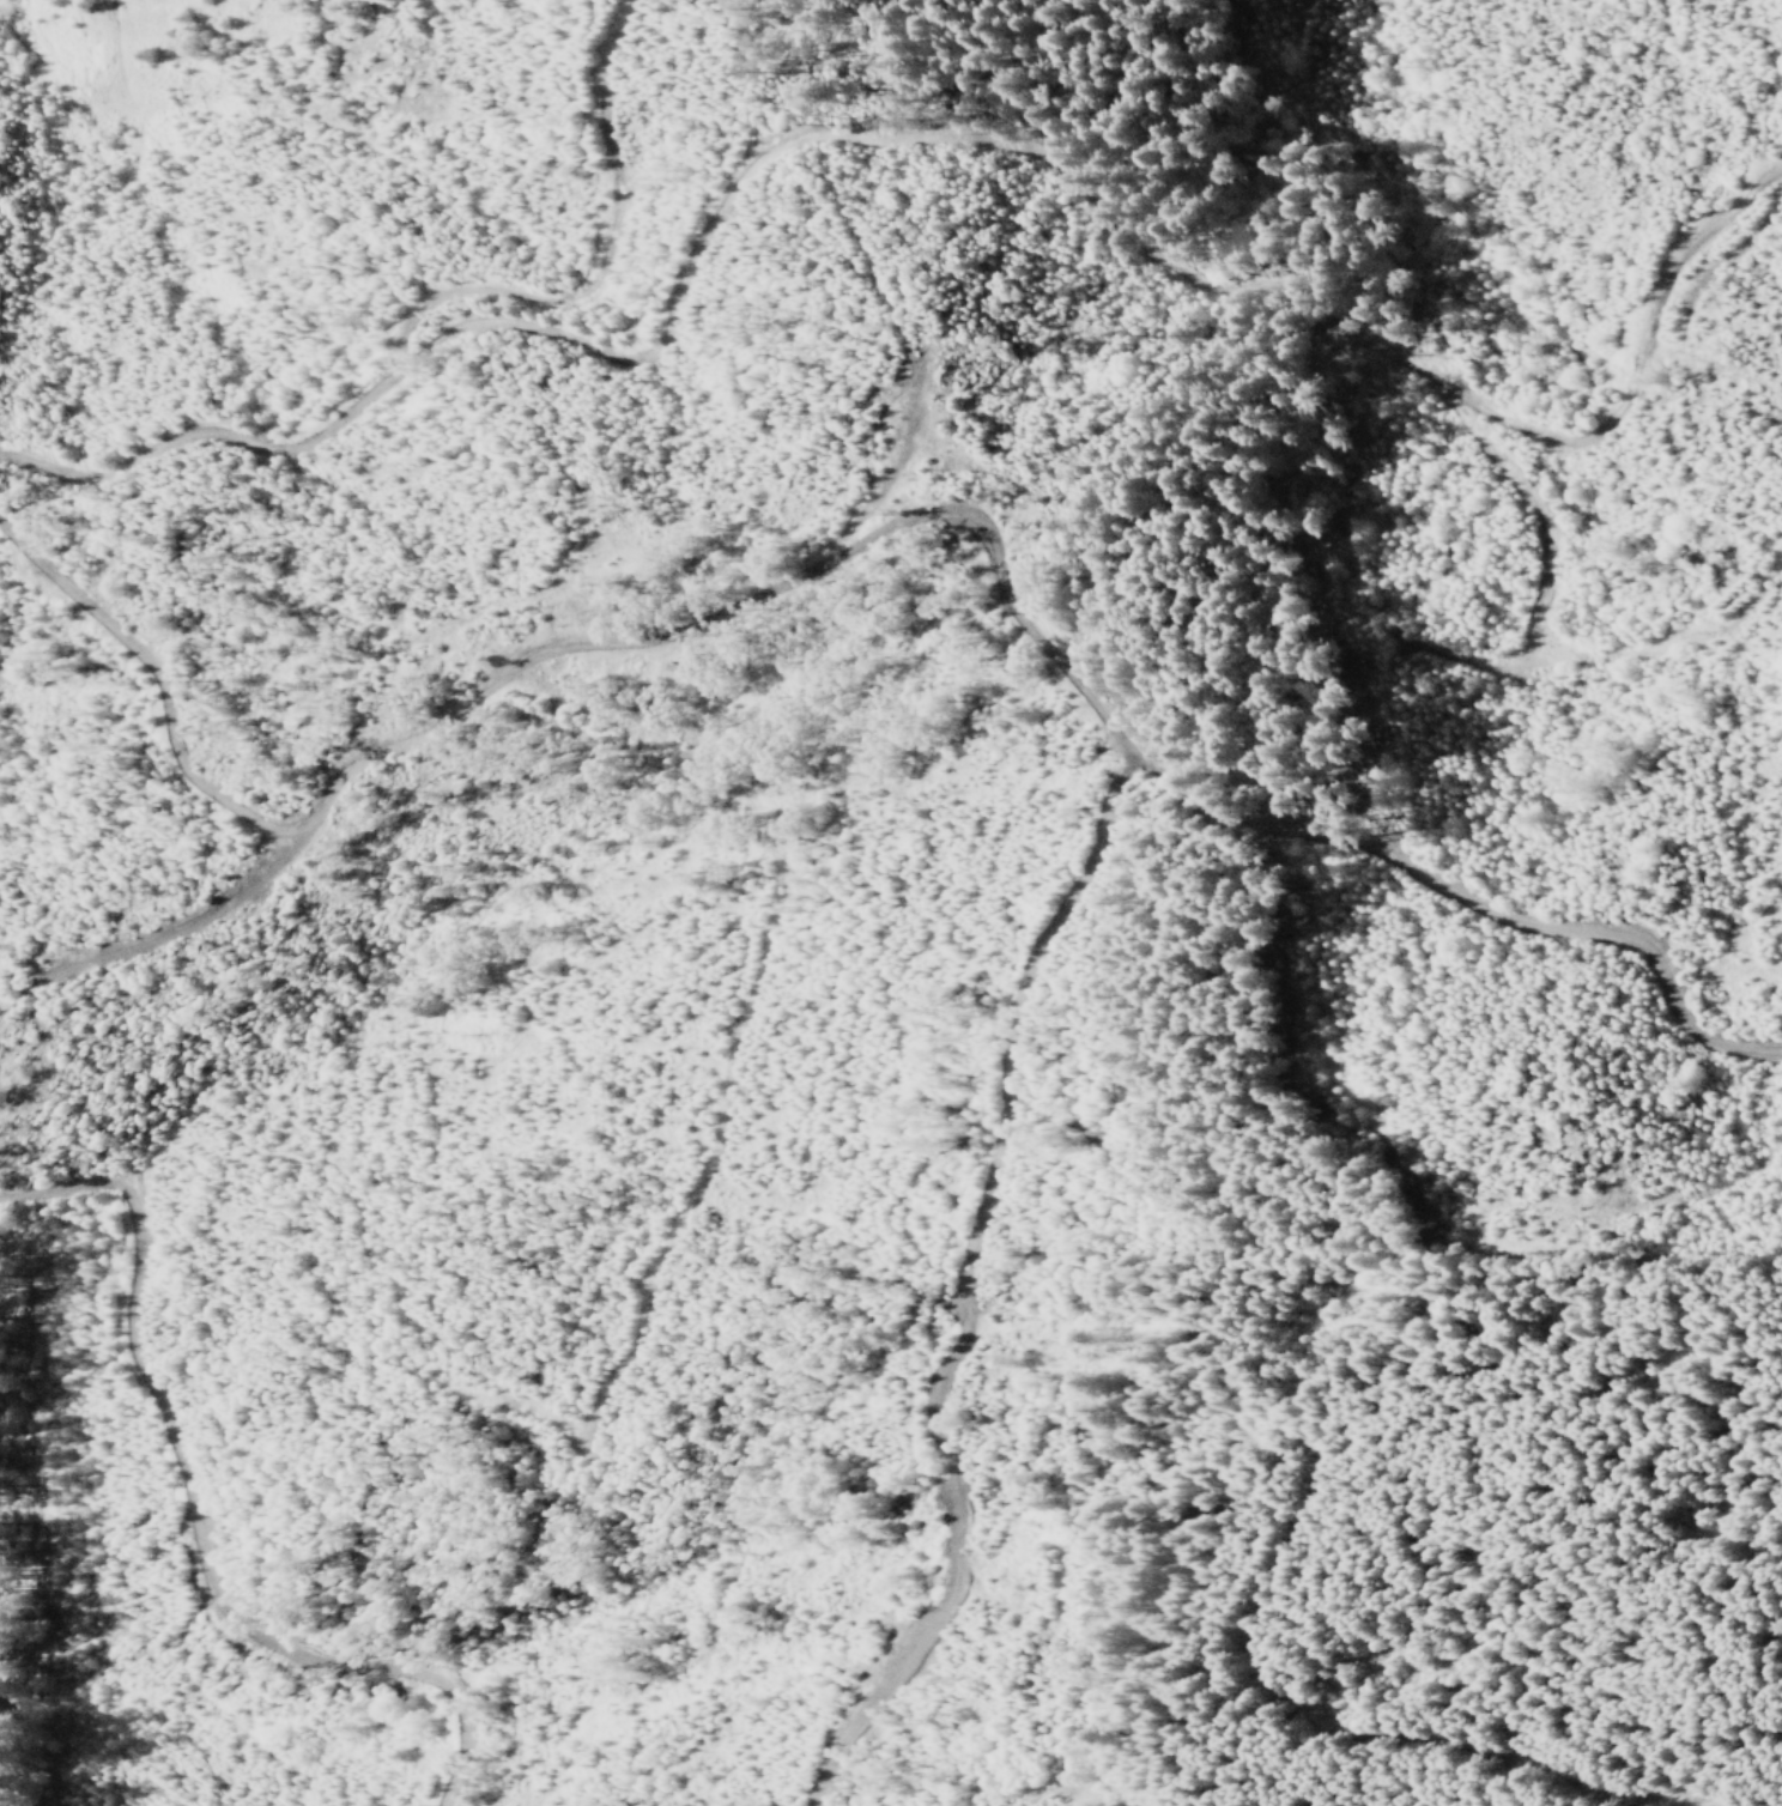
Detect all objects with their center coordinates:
road: (1368, 1732)

